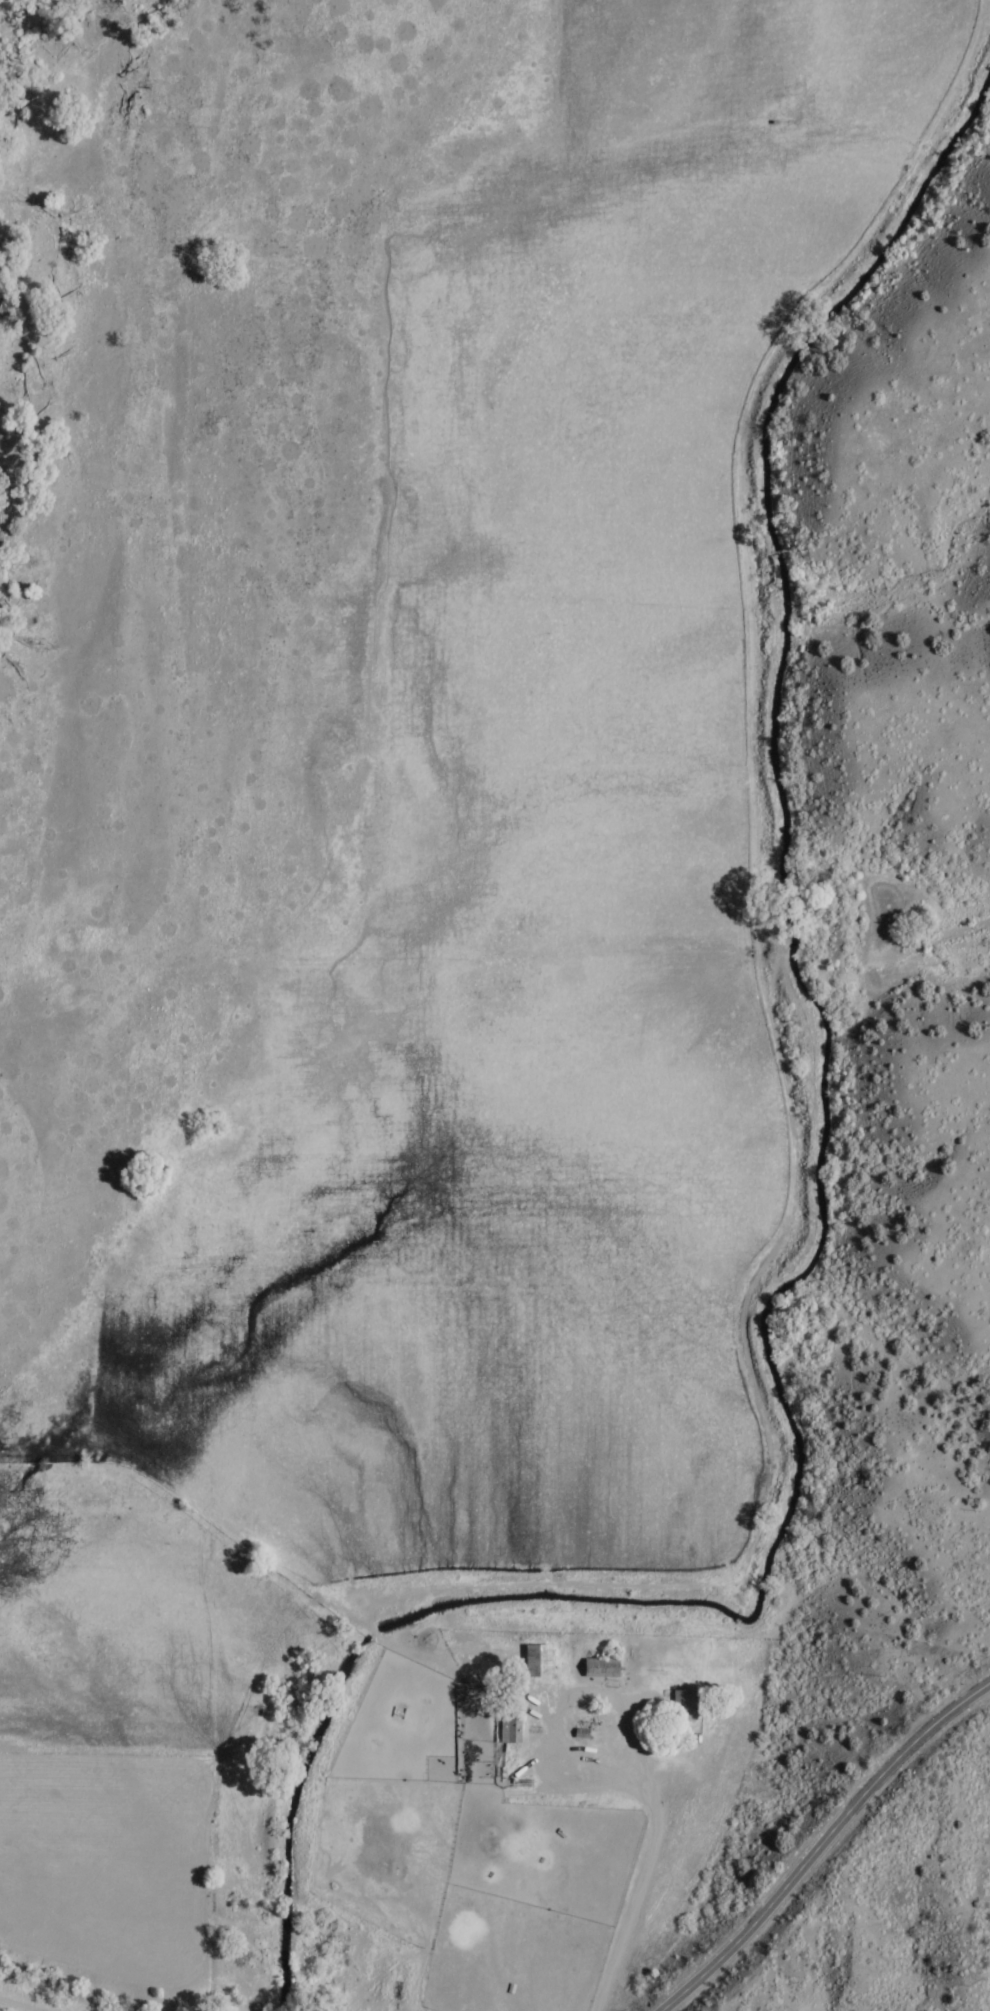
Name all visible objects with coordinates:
building: (682, 1704)
road: (826, 1846)

